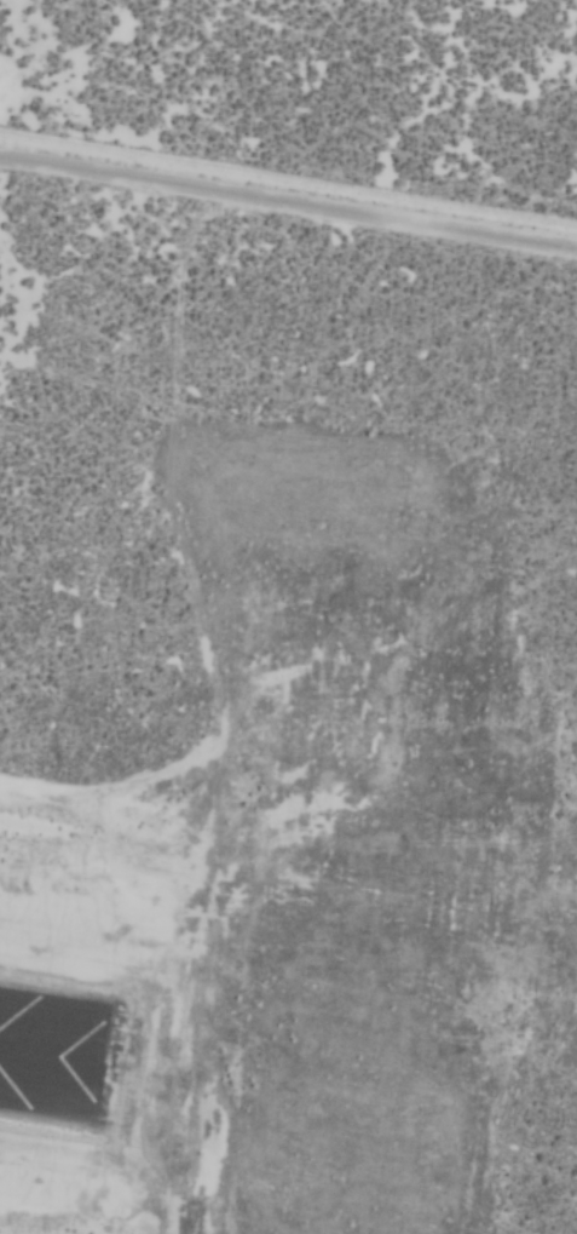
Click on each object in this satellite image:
airport: (288, 616)
airport runway: (48, 1058)

